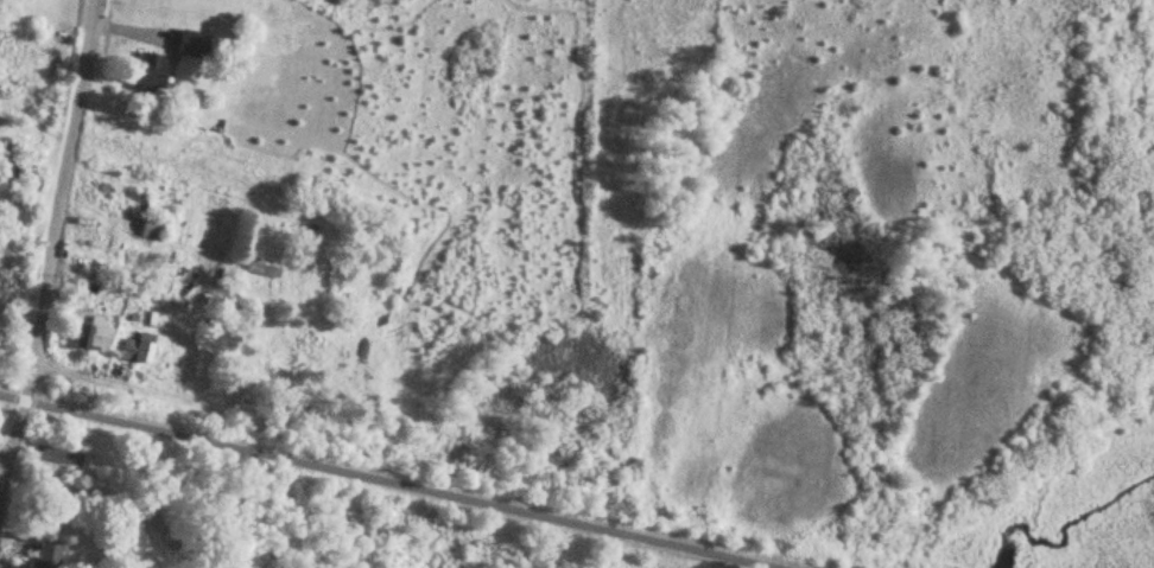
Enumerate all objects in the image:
building: (153, 75)
road: (64, 190)
building: (151, 226)
building: (262, 270)
building: (93, 331)
building: (137, 350)
road: (80, 376)
road: (175, 396)
road: (21, 410)
road: (5, 465)
road: (1, 477)
road: (383, 483)
building: (47, 554)

